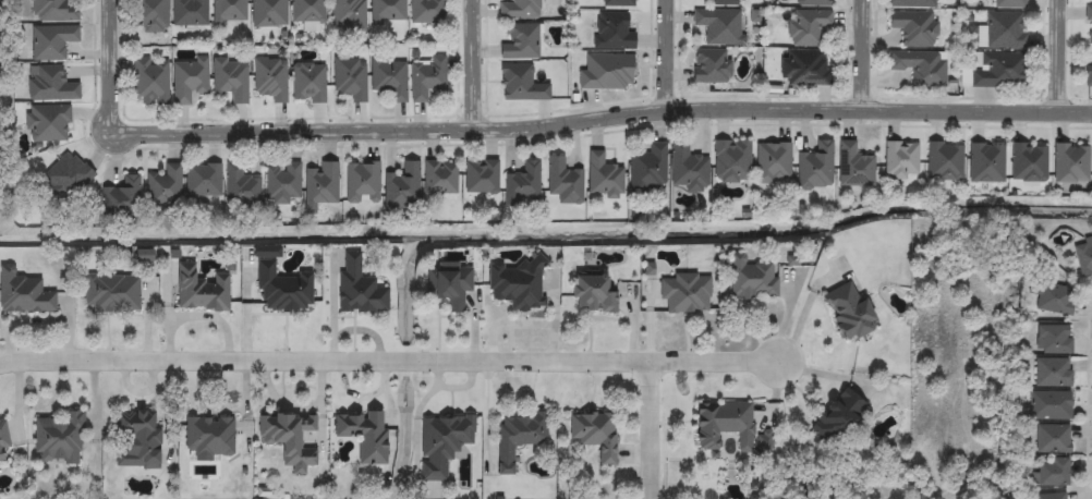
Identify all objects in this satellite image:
building: (1089, 0)
building: (723, 2)
building: (617, 3)
building: (814, 3)
building: (914, 3)
building: (1009, 4)
building: (521, 9)
building: (53, 11)
building: (229, 12)
building: (307, 12)
building: (387, 12)
building: (190, 13)
building: (268, 13)
building: (427, 13)
building: (149, 15)
building: (348, 15)
building: (1089, 25)
building: (720, 26)
building: (809, 27)
building: (914, 27)
building: (614, 32)
building: (1003, 32)
building: (51, 40)
building: (520, 41)
road: (667, 58)
road: (865, 58)
road: (1063, 61)
road: (482, 65)
building: (711, 66)
road: (116, 68)
building: (921, 68)
building: (804, 70)
building: (998, 70)
building: (1089, 72)
building: (607, 73)
building: (426, 76)
building: (389, 77)
building: (350, 78)
building: (231, 80)
building: (270, 80)
building: (151, 81)
building: (190, 81)
building: (308, 83)
building: (520, 84)
building: (51, 85)
road: (607, 121)
building: (48, 123)
building: (901, 160)
building: (945, 160)
building: (731, 161)
building: (986, 162)
building: (1029, 162)
building: (1070, 162)
building: (773, 163)
building: (816, 167)
building: (854, 167)
building: (687, 168)
building: (647, 170)
building: (68, 177)
building: (481, 177)
building: (603, 177)
building: (439, 178)
building: (203, 182)
building: (362, 182)
building: (563, 182)
building: (283, 183)
building: (521, 184)
building: (320, 185)
building: (165, 186)
building: (240, 187)
building: (401, 187)
building: (121, 198)
building: (1083, 256)
building: (752, 276)
building: (515, 282)
building: (448, 283)
building: (360, 285)
building: (282, 287)
building: (201, 288)
building: (111, 290)
building: (23, 291)
building: (685, 291)
building: (592, 292)
building: (1055, 299)
building: (847, 309)
building: (1053, 340)
road: (390, 364)
building: (1052, 373)
building: (1051, 406)
building: (837, 414)
building: (724, 422)
building: (594, 431)
road: (651, 431)
building: (363, 433)
building: (208, 434)
building: (518, 434)
building: (289, 435)
building: (59, 437)
building: (137, 437)
building: (2, 438)
building: (1053, 439)
building: (441, 441)
building: (1054, 472)
building: (1053, 496)

